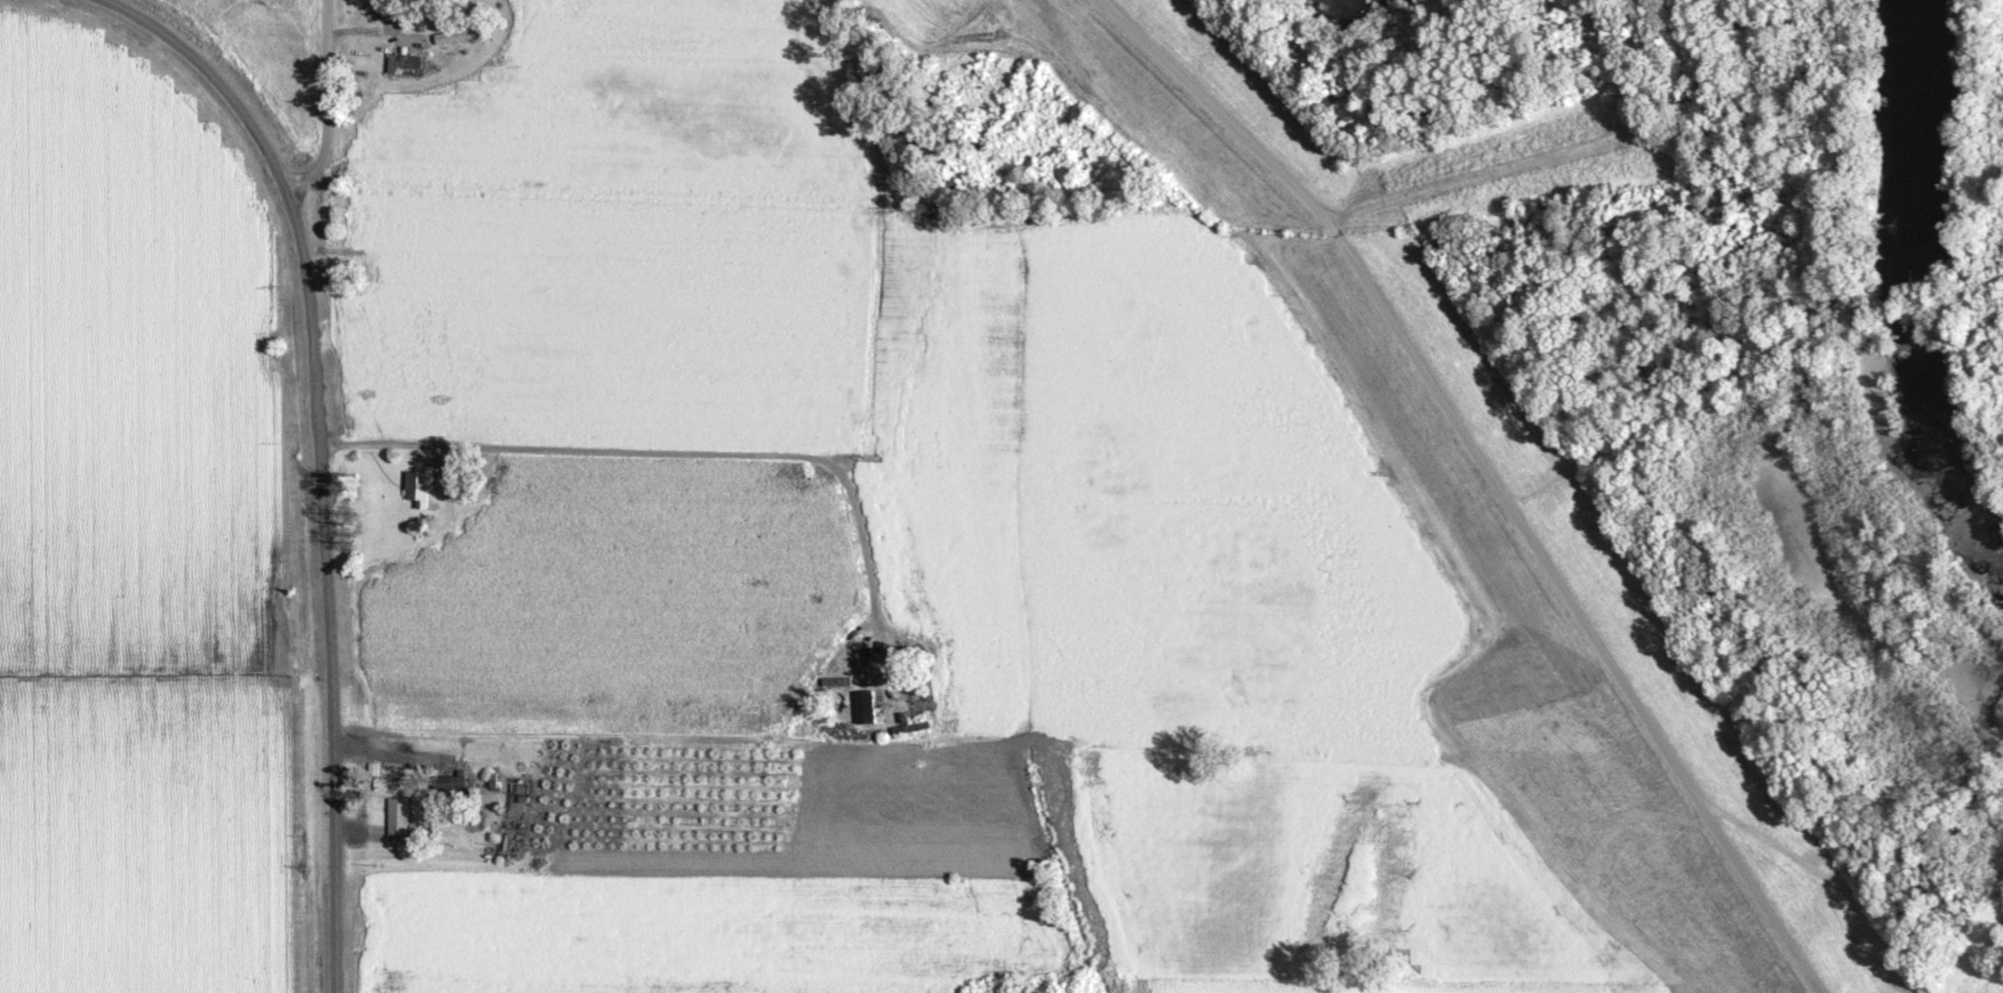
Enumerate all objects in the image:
building: (370, 8)
road: (1000, 24)
building: (456, 39)
building: (408, 47)
building: (407, 67)
road: (326, 103)
building: (1067, 175)
building: (374, 235)
road: (416, 313)
road: (687, 458)
road: (318, 459)
road: (1486, 476)
building: (416, 492)
building: (862, 710)
building: (395, 819)
road: (1823, 880)

